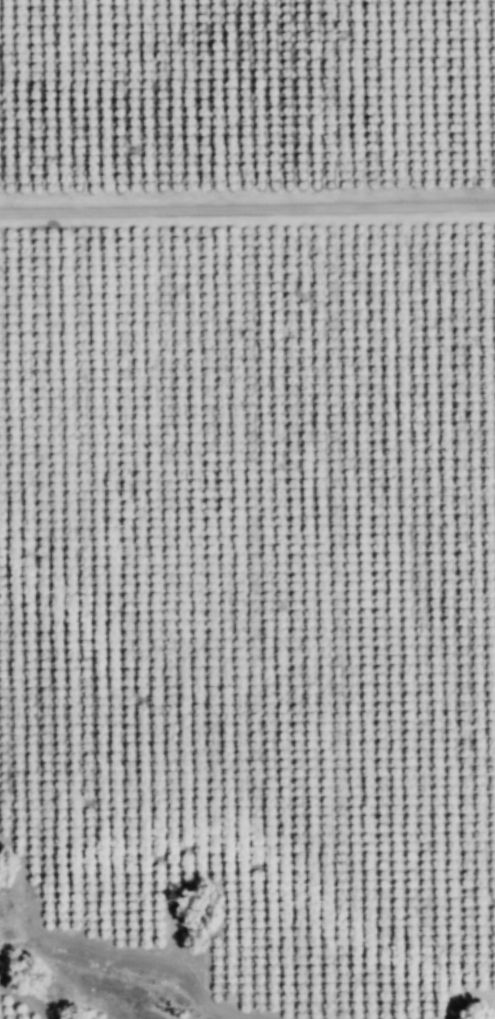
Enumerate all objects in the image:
road: (247, 208)

